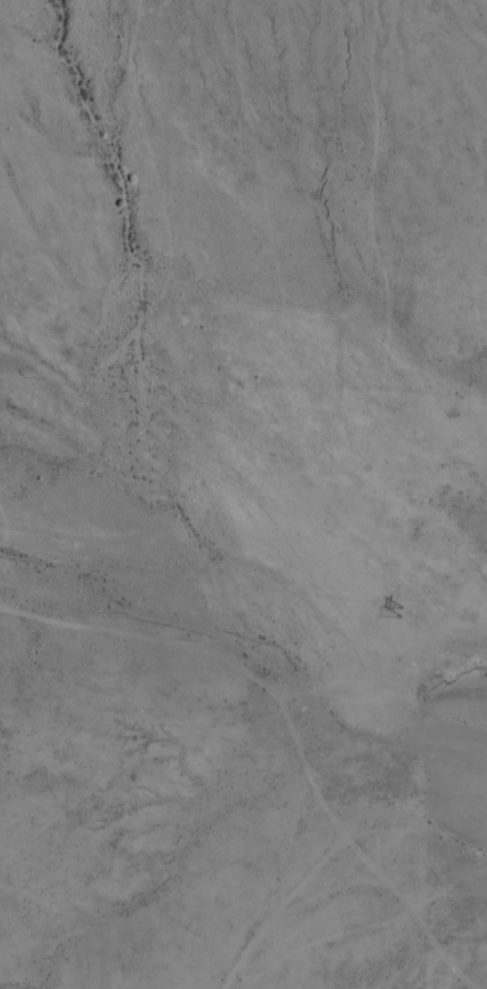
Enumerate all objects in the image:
power tower: (396, 613)
road: (341, 937)

